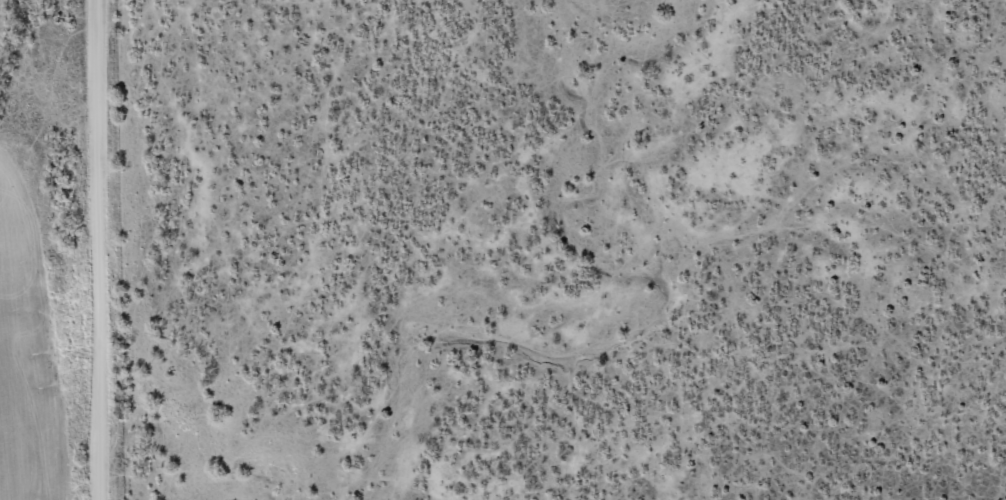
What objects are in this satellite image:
road: (97, 250)

